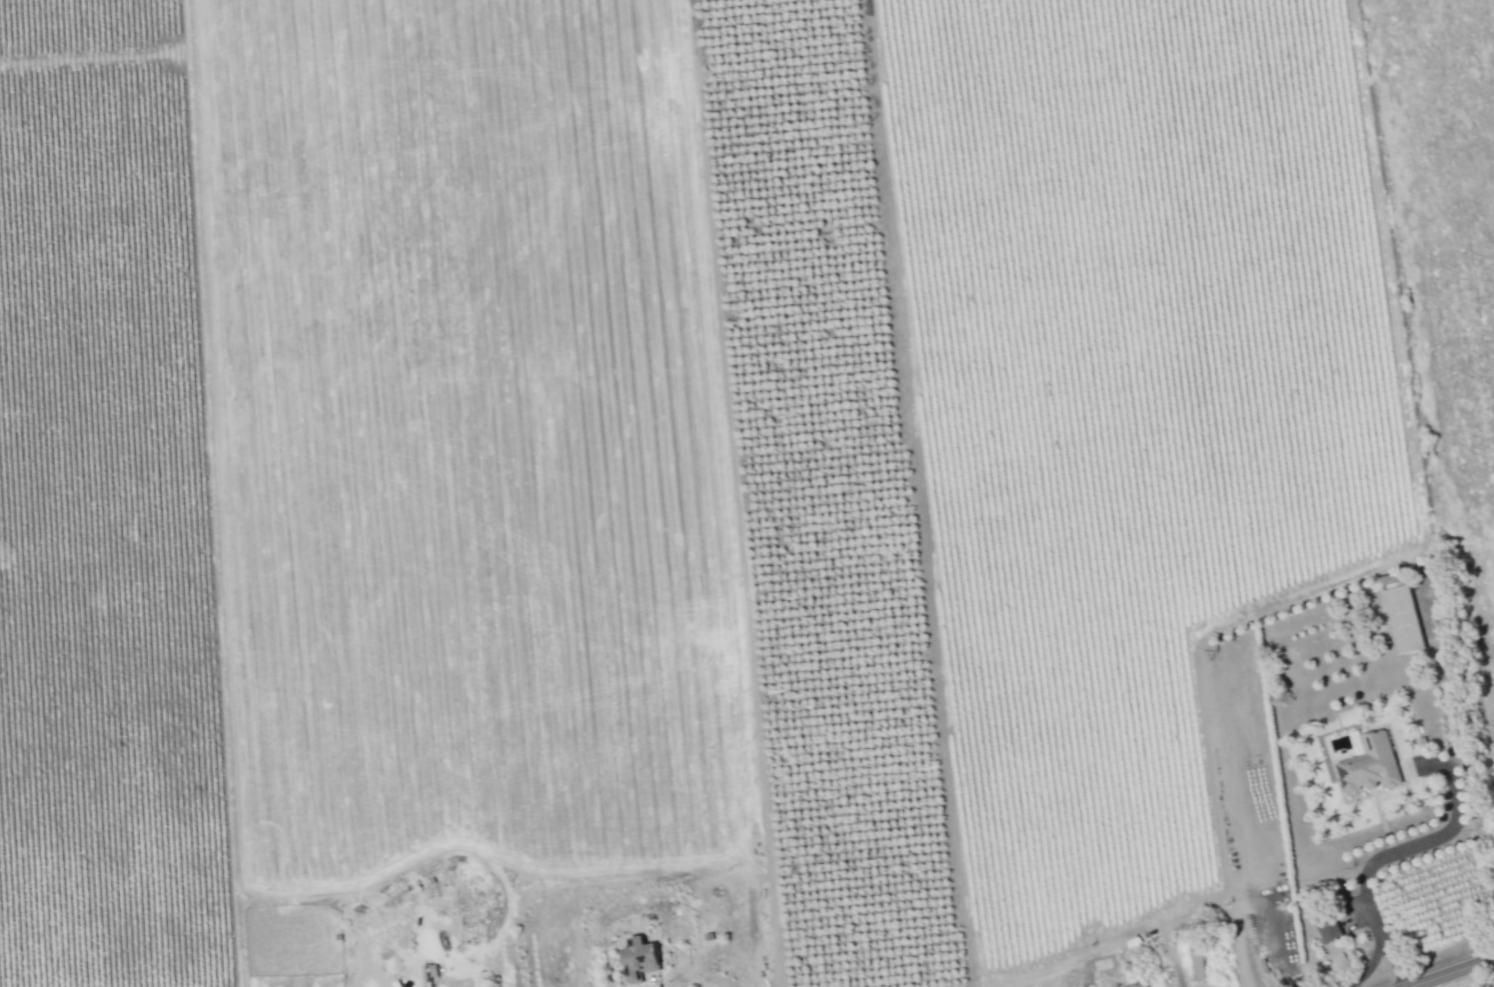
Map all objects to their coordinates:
building: (1403, 619)
building: (1370, 764)
road: (1456, 812)
building: (1329, 928)
road: (1238, 947)
building: (639, 958)
building: (1196, 961)
road: (1454, 972)

